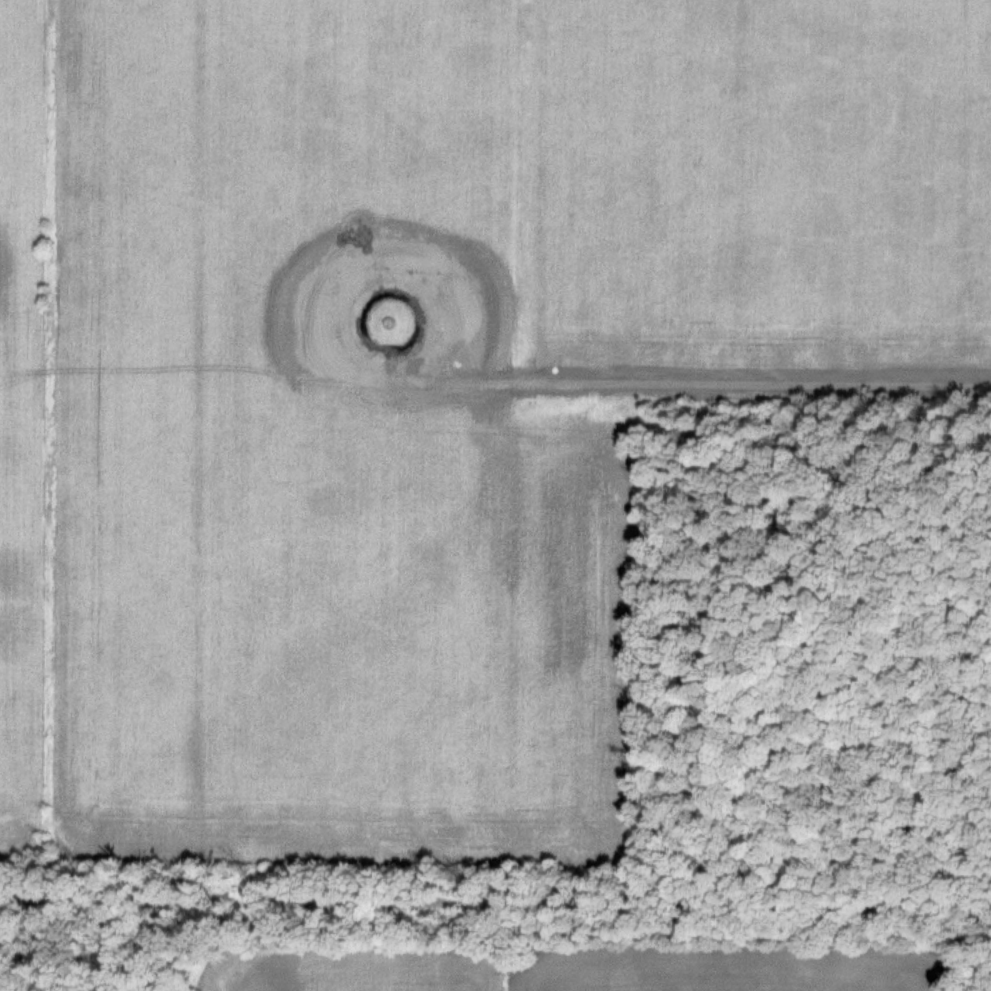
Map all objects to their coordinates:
wind turbine: (391, 325)
road: (703, 373)
railway: (495, 902)

